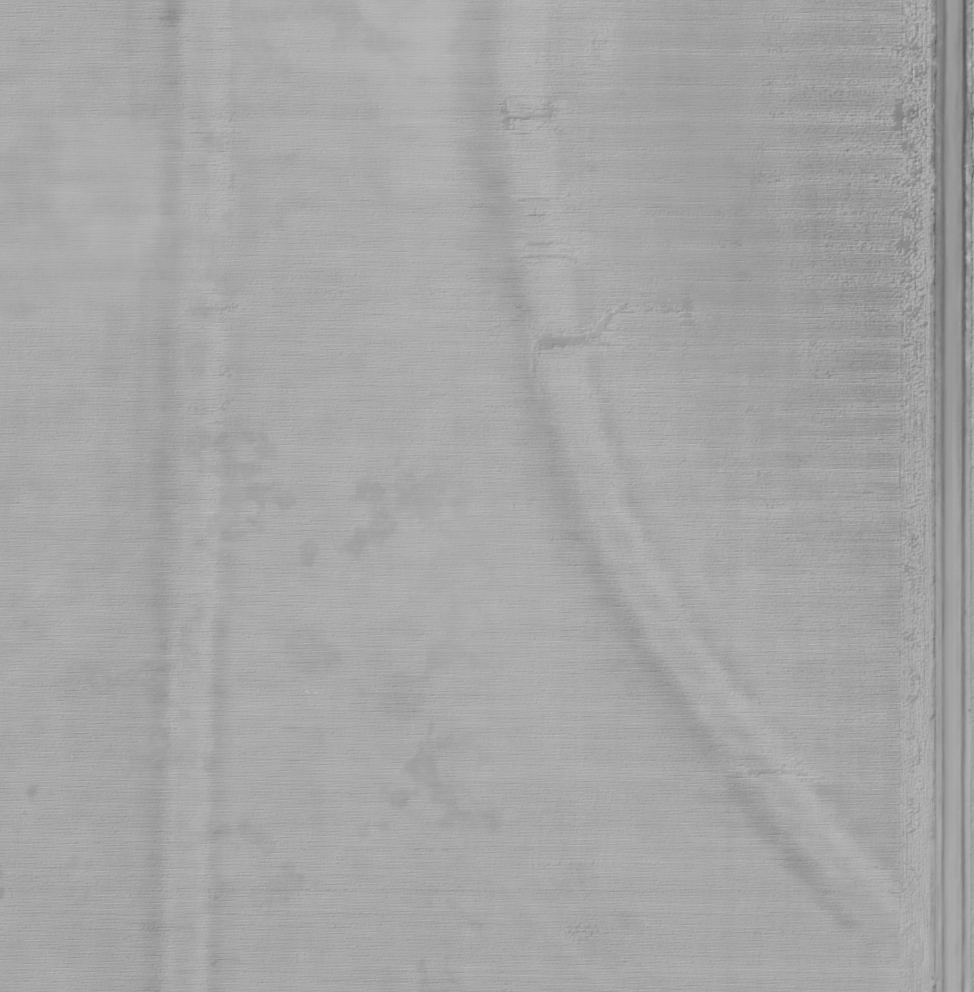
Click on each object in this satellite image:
road: (955, 496)

